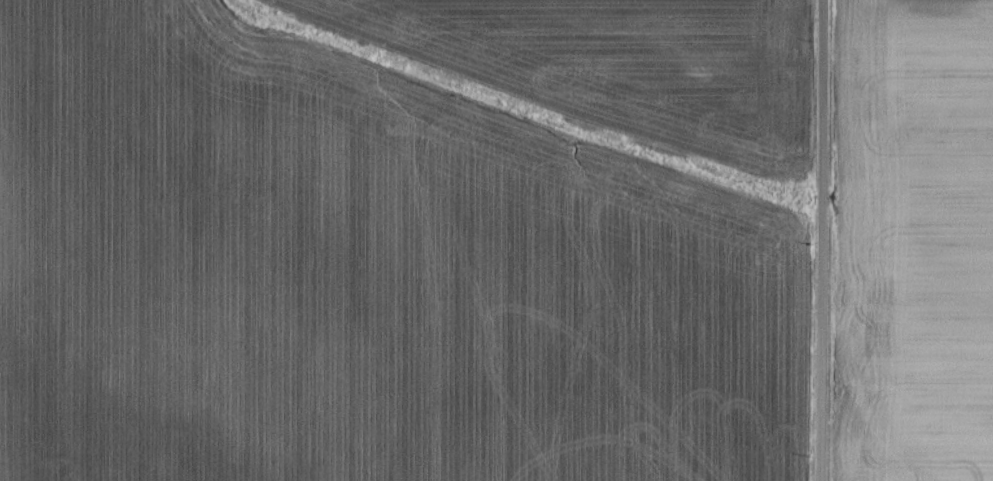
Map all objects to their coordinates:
road: (811, 240)

